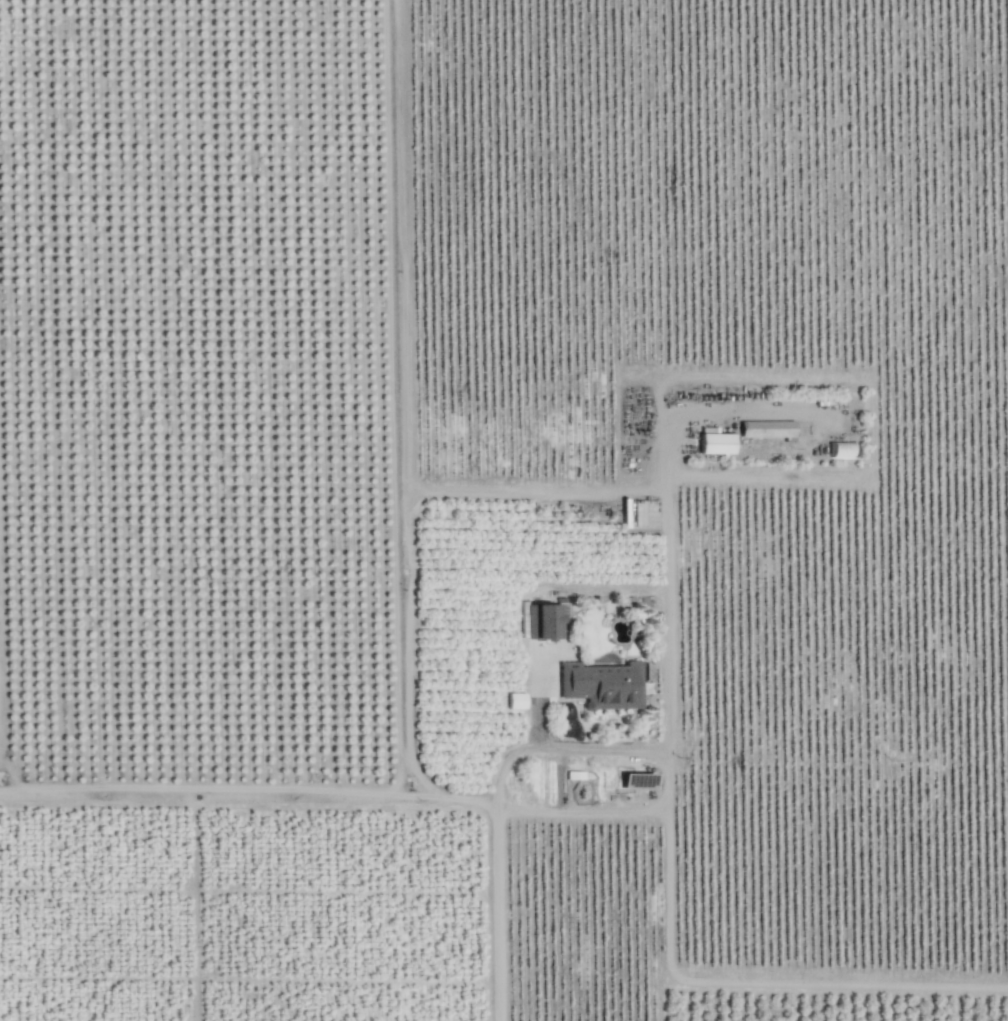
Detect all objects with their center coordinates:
building: (766, 429)
road: (402, 442)
building: (715, 443)
road: (665, 593)
building: (546, 621)
building: (602, 685)
building: (516, 701)
road: (205, 789)
road: (615, 811)
road: (497, 911)

